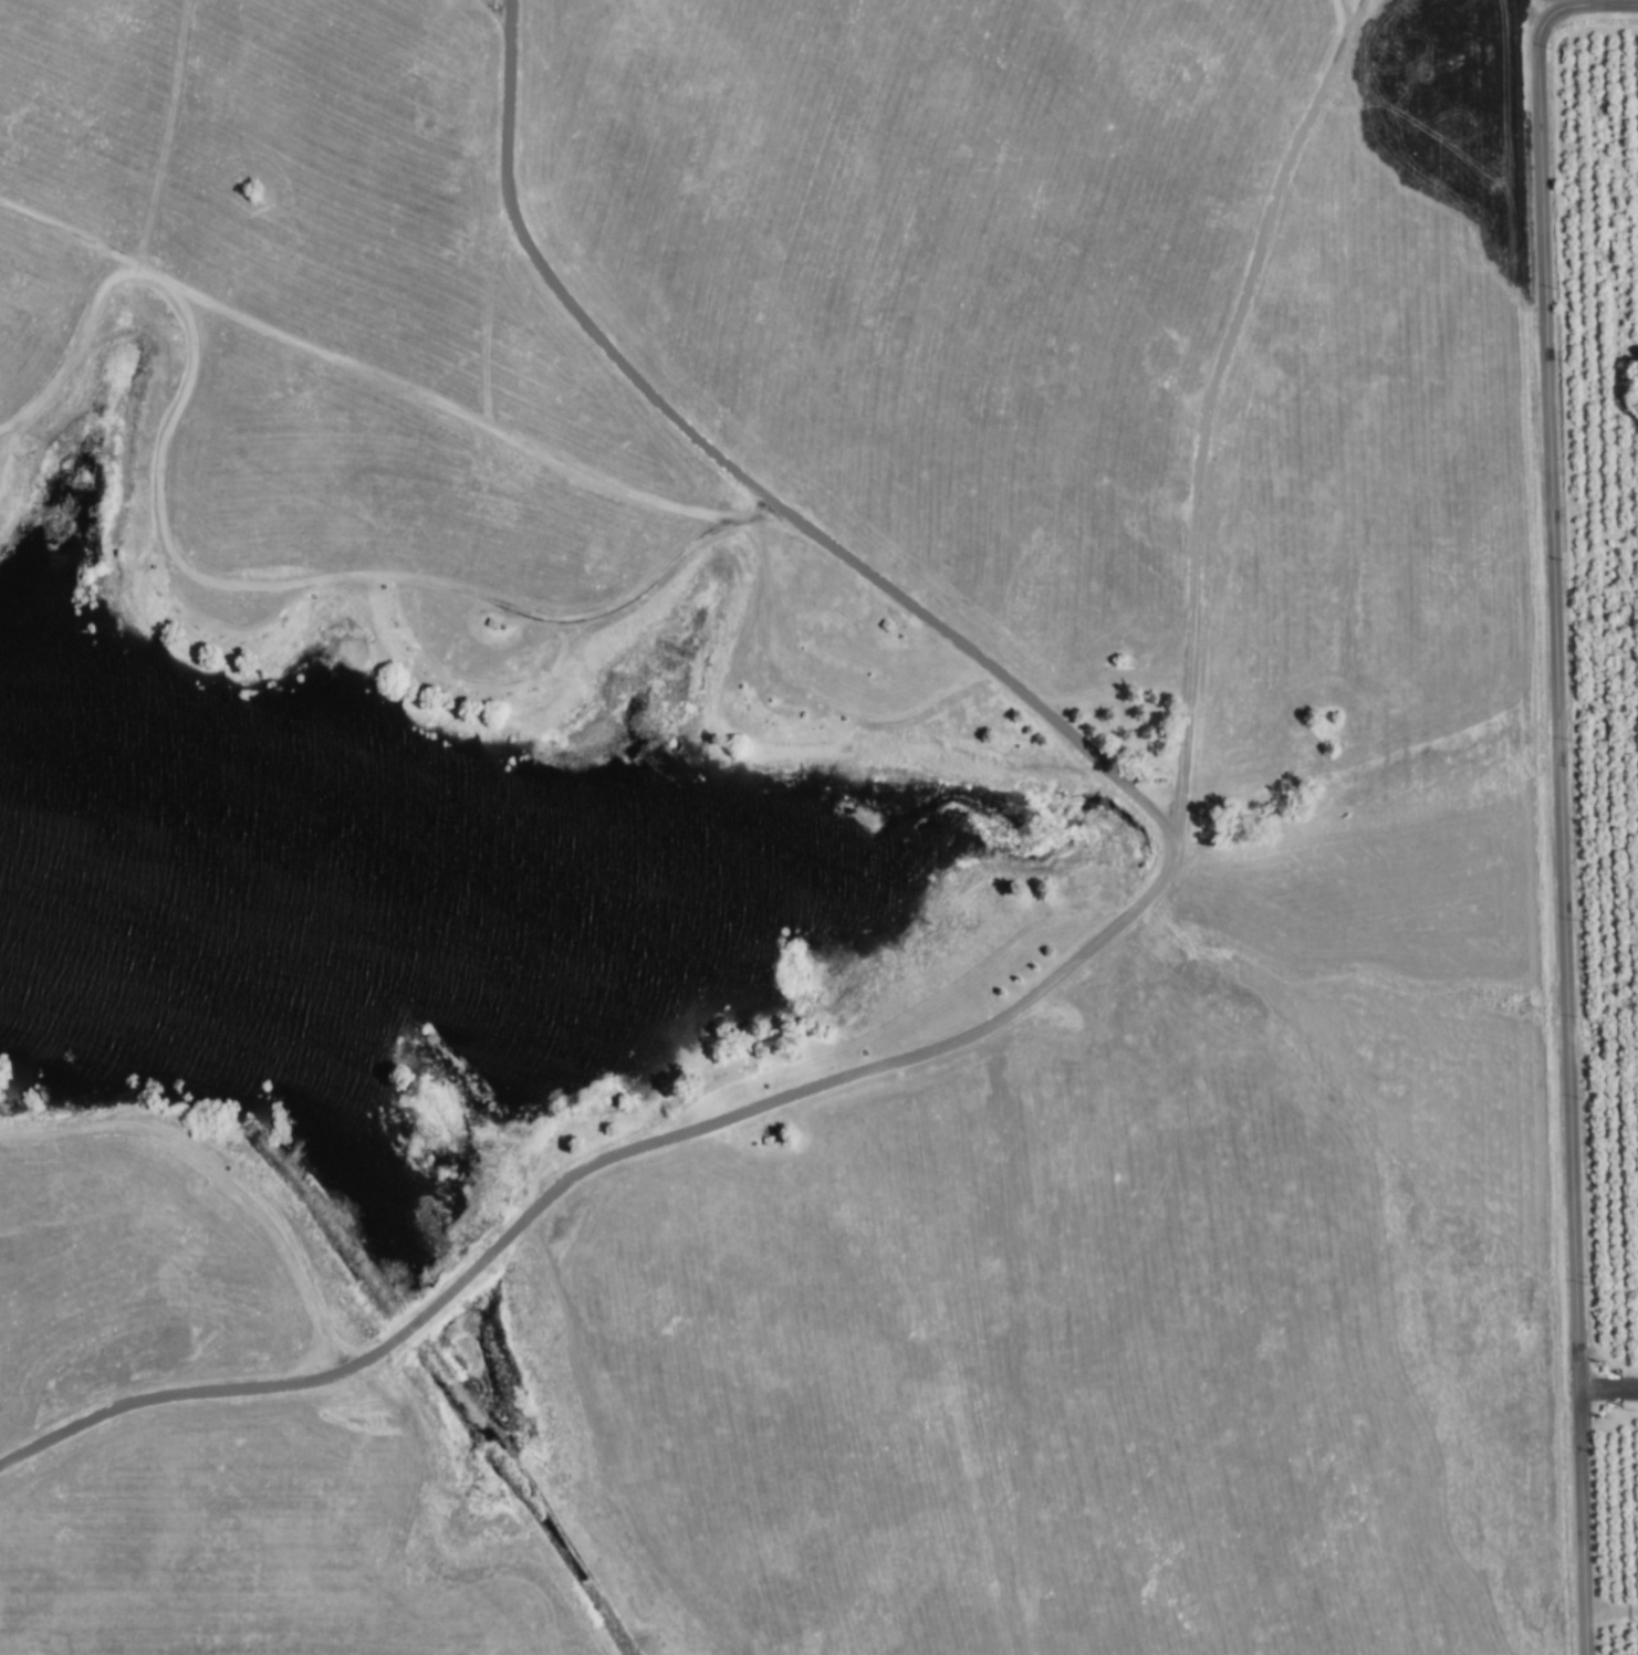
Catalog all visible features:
road: (1532, 13)
road: (1206, 407)
crop: (1598, 624)
road: (1555, 785)
road: (1102, 934)
road: (1607, 1391)
road: (1610, 1612)
crop: (1609, 1641)

